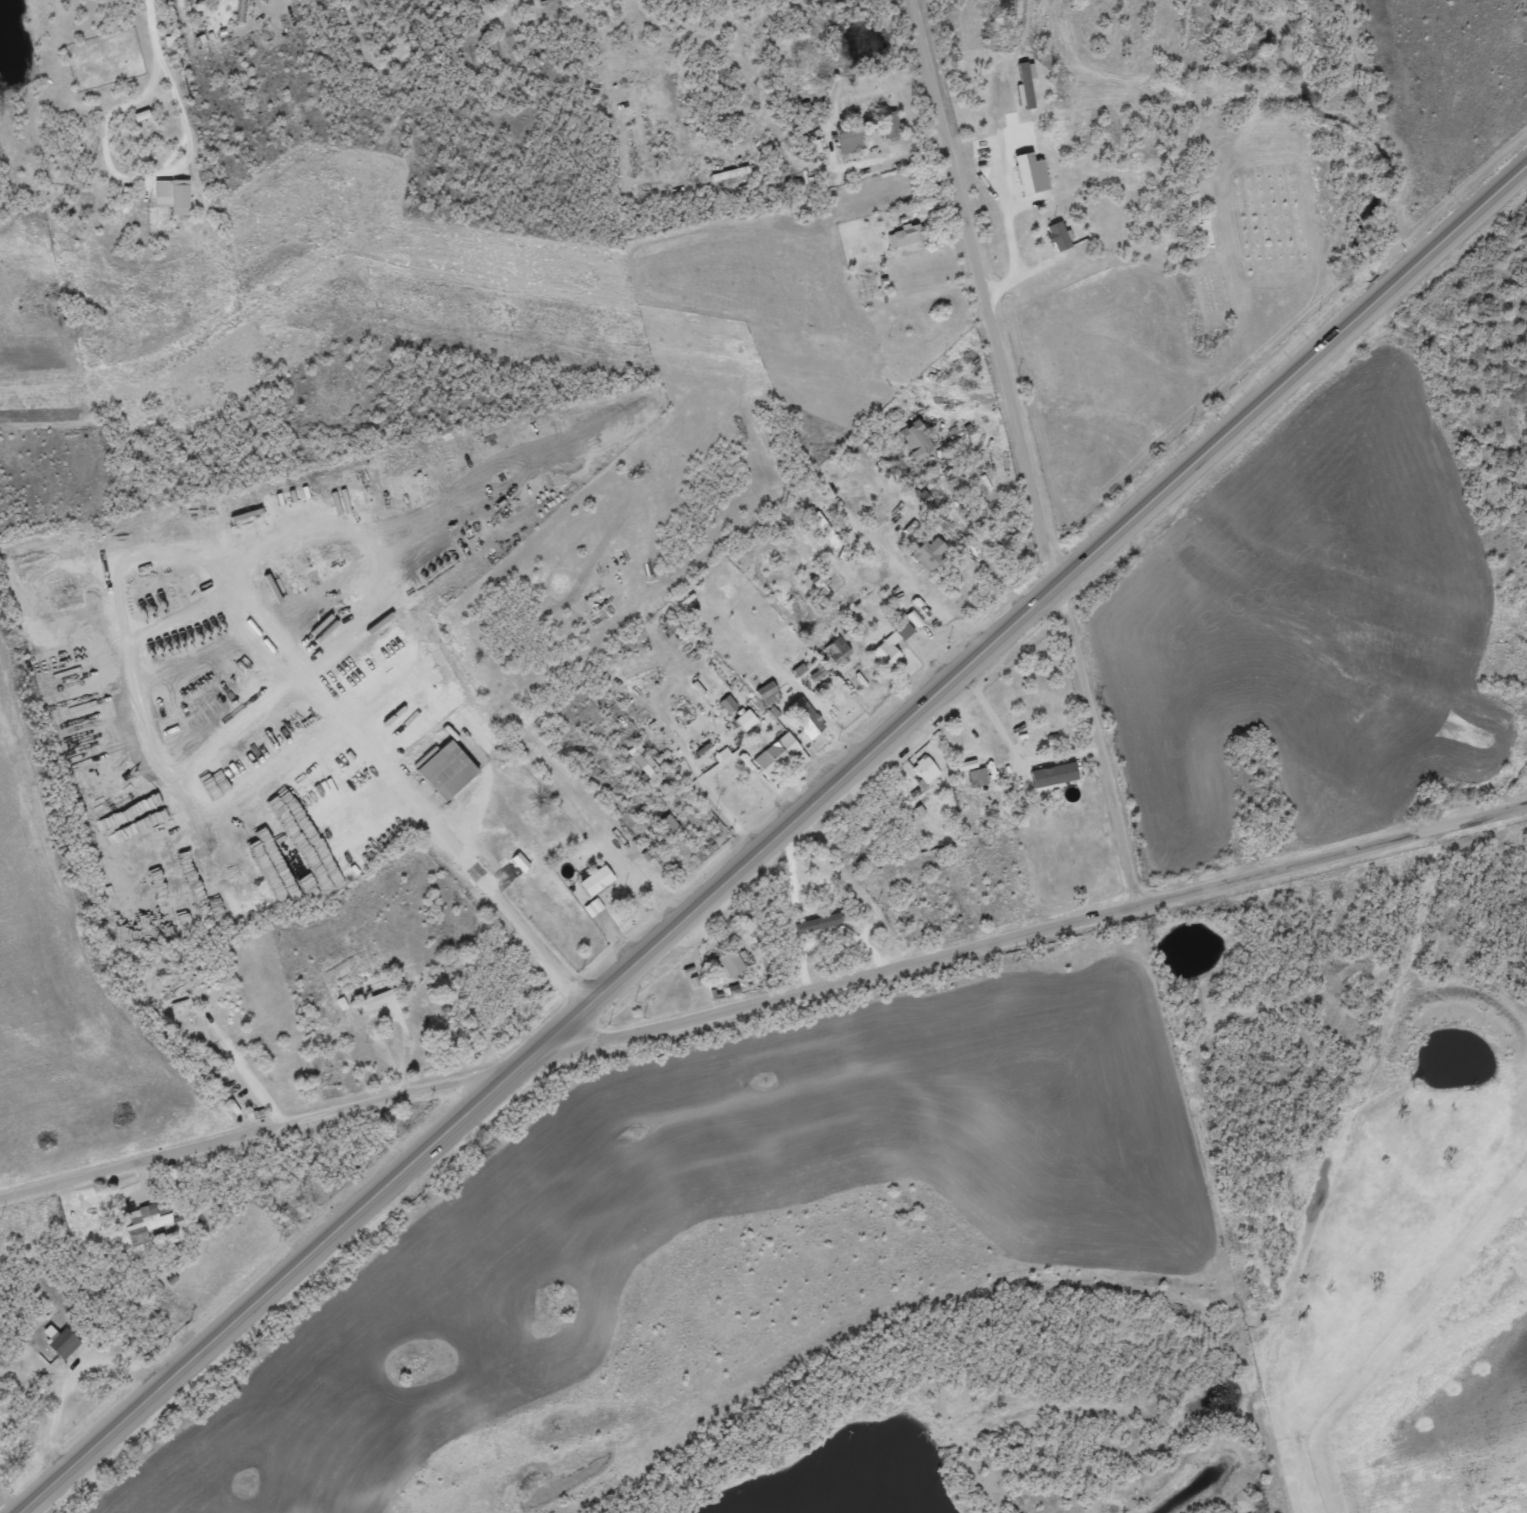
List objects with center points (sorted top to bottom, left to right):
road: (152, 26)
building: (890, 124)
building: (849, 139)
building: (1029, 173)
road: (134, 179)
building: (172, 195)
building: (906, 235)
building: (1058, 236)
building: (914, 439)
road: (1022, 454)
road: (835, 493)
building: (929, 553)
building: (822, 586)
building: (892, 645)
building: (836, 650)
building: (818, 673)
building: (767, 693)
building: (804, 718)
building: (745, 720)
building: (711, 729)
building: (780, 754)
building: (642, 760)
building: (446, 770)
building: (925, 770)
building: (1052, 774)
building: (977, 777)
building: (667, 826)
road: (772, 837)
building: (520, 861)
road: (475, 866)
building: (596, 880)
building: (593, 906)
building: (817, 922)
road: (1027, 934)
building: (730, 962)
building: (378, 999)
road: (264, 1130)
building: (146, 1221)
building: (64, 1343)
road: (1, 1508)

